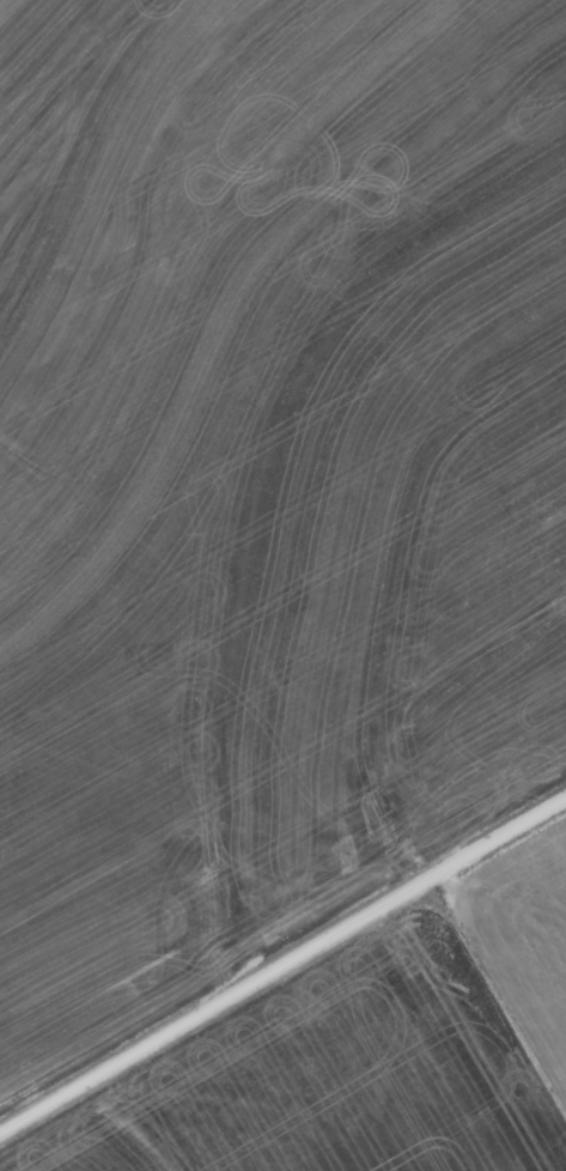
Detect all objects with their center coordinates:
road: (282, 970)

